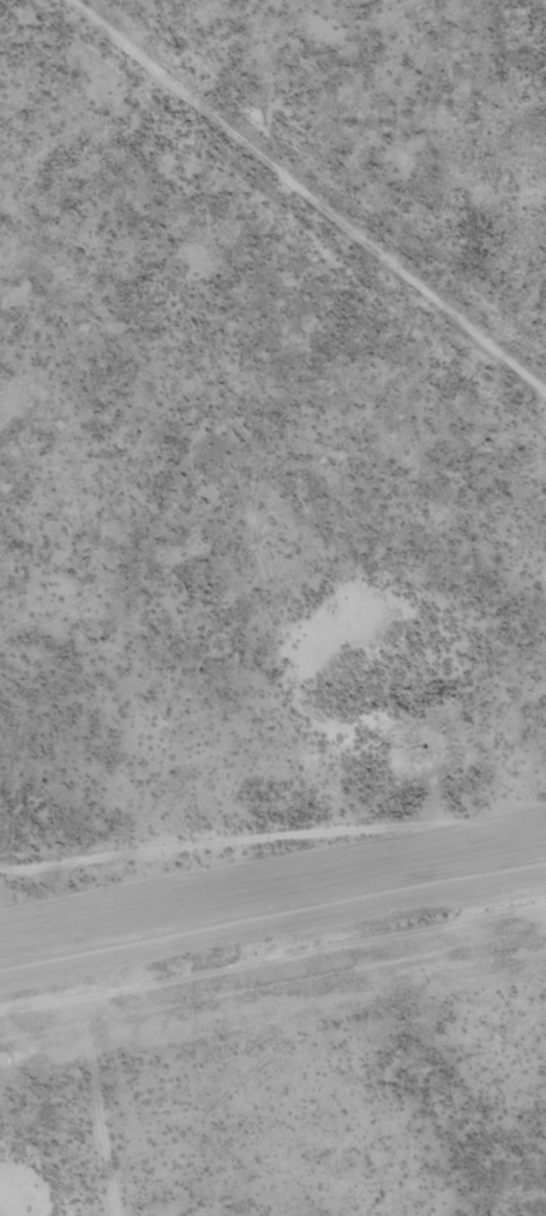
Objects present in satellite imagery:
road: (12, 4)
road: (247, 868)

